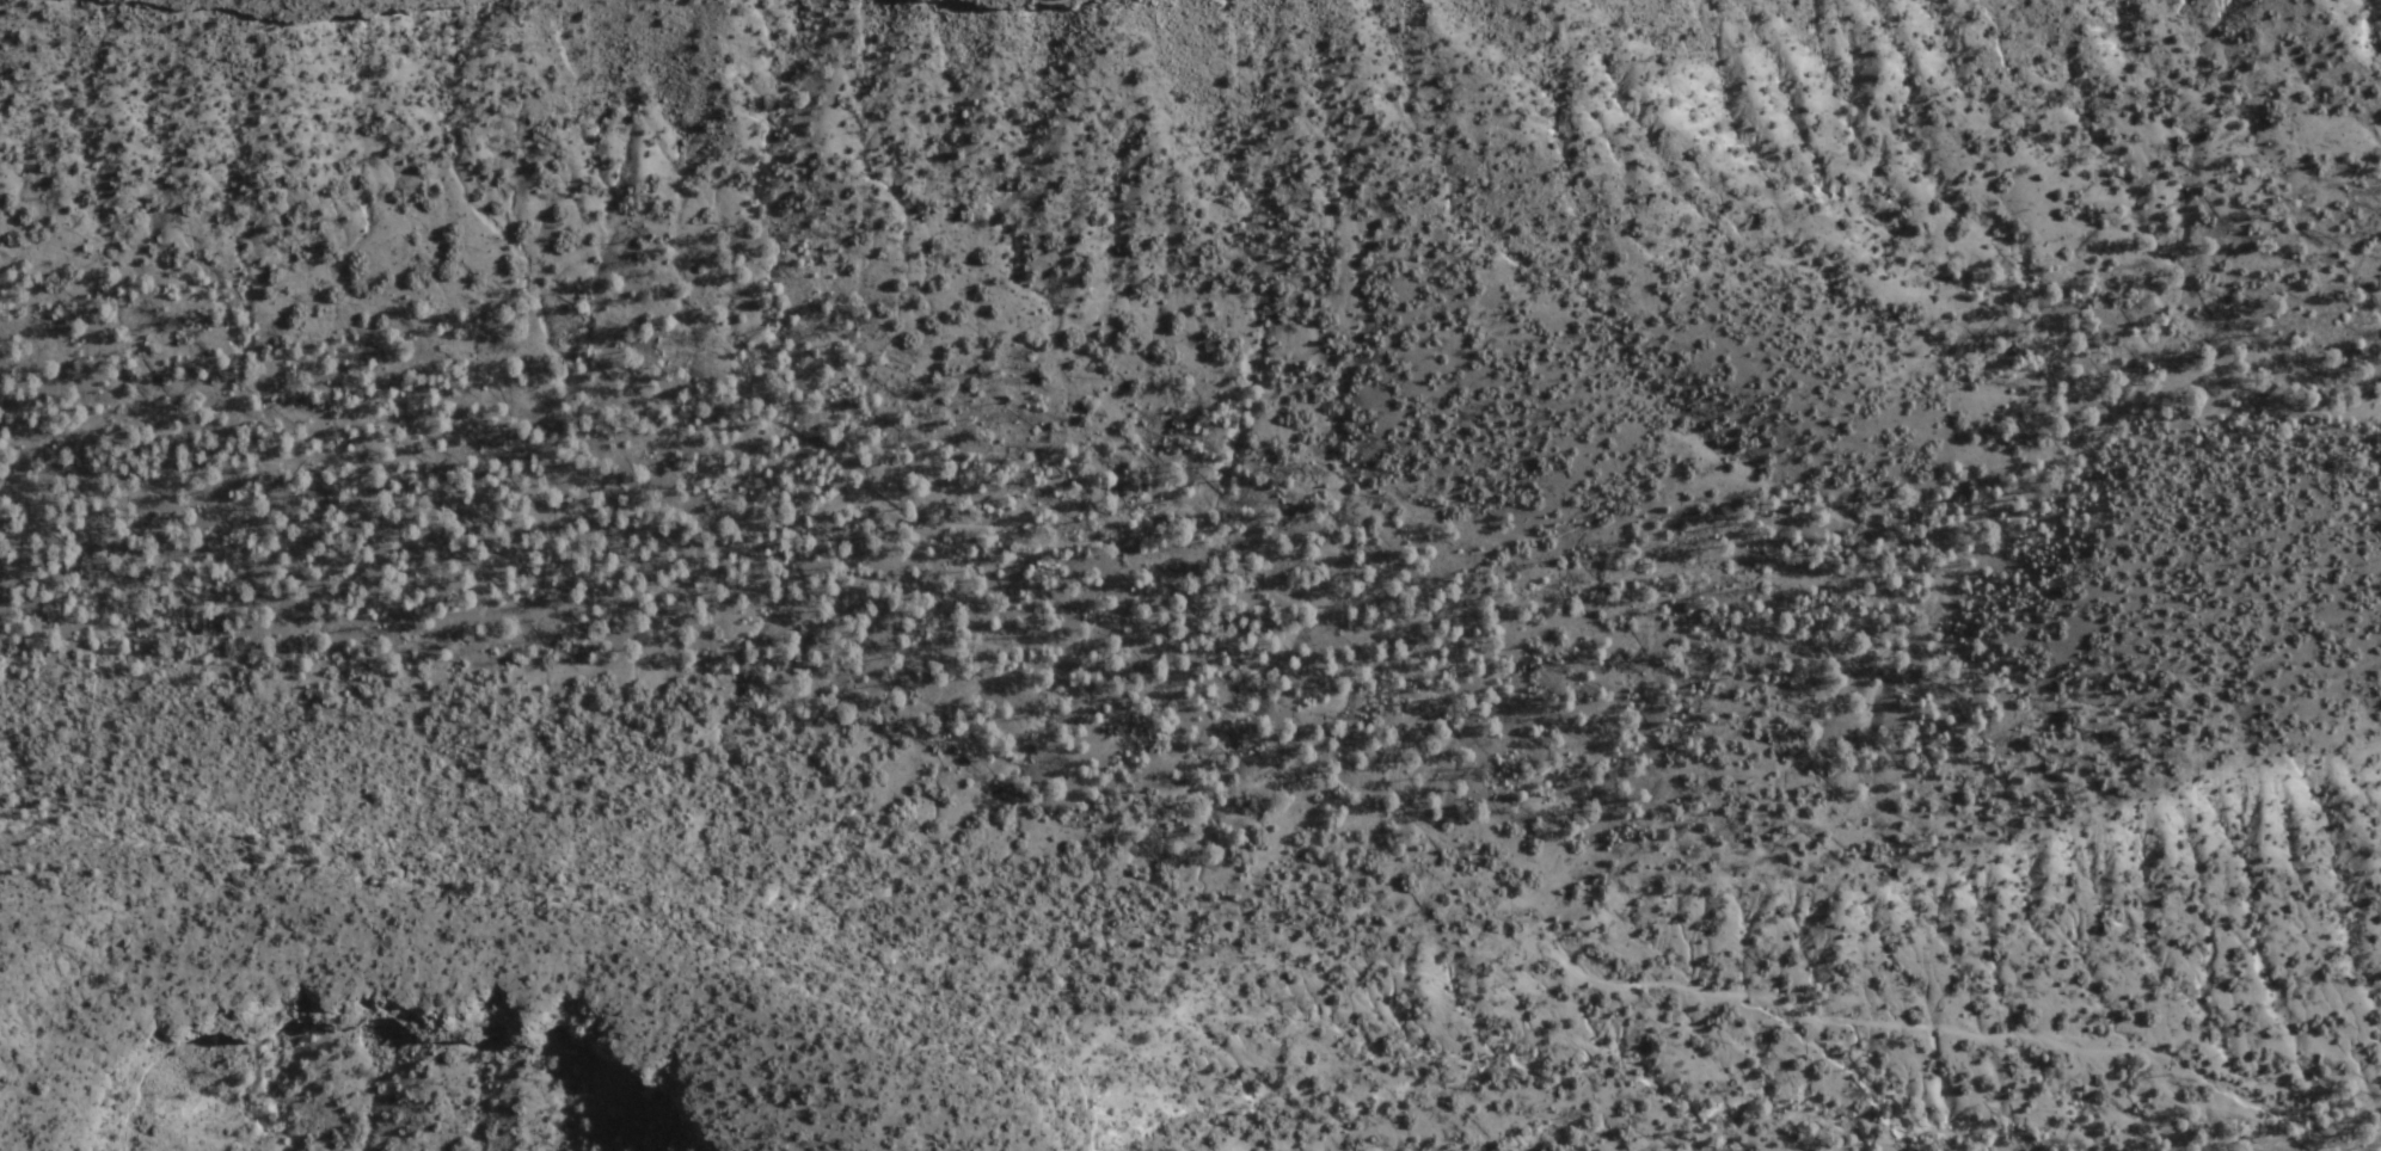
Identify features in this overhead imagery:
road: (72, 0)
road: (104, 30)

